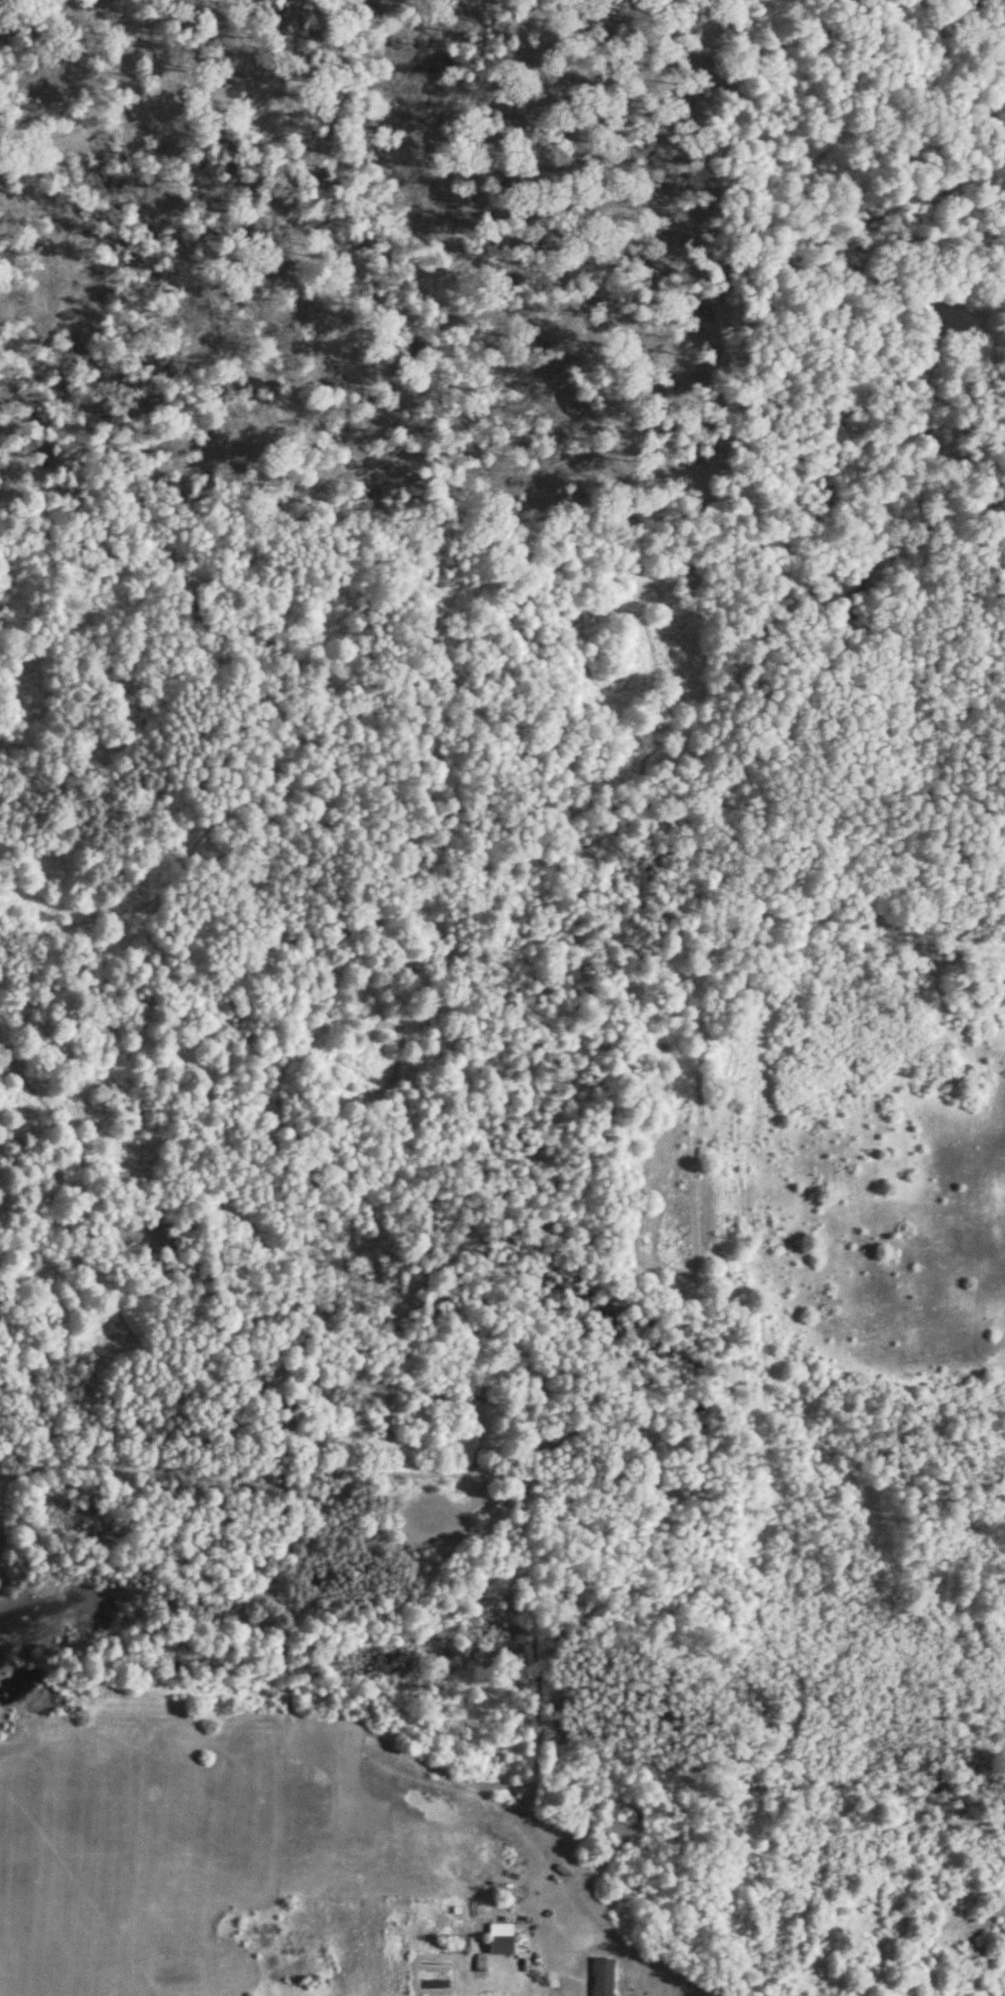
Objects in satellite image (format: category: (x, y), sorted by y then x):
building: (499, 1946)
road: (531, 1971)
building: (602, 1978)

